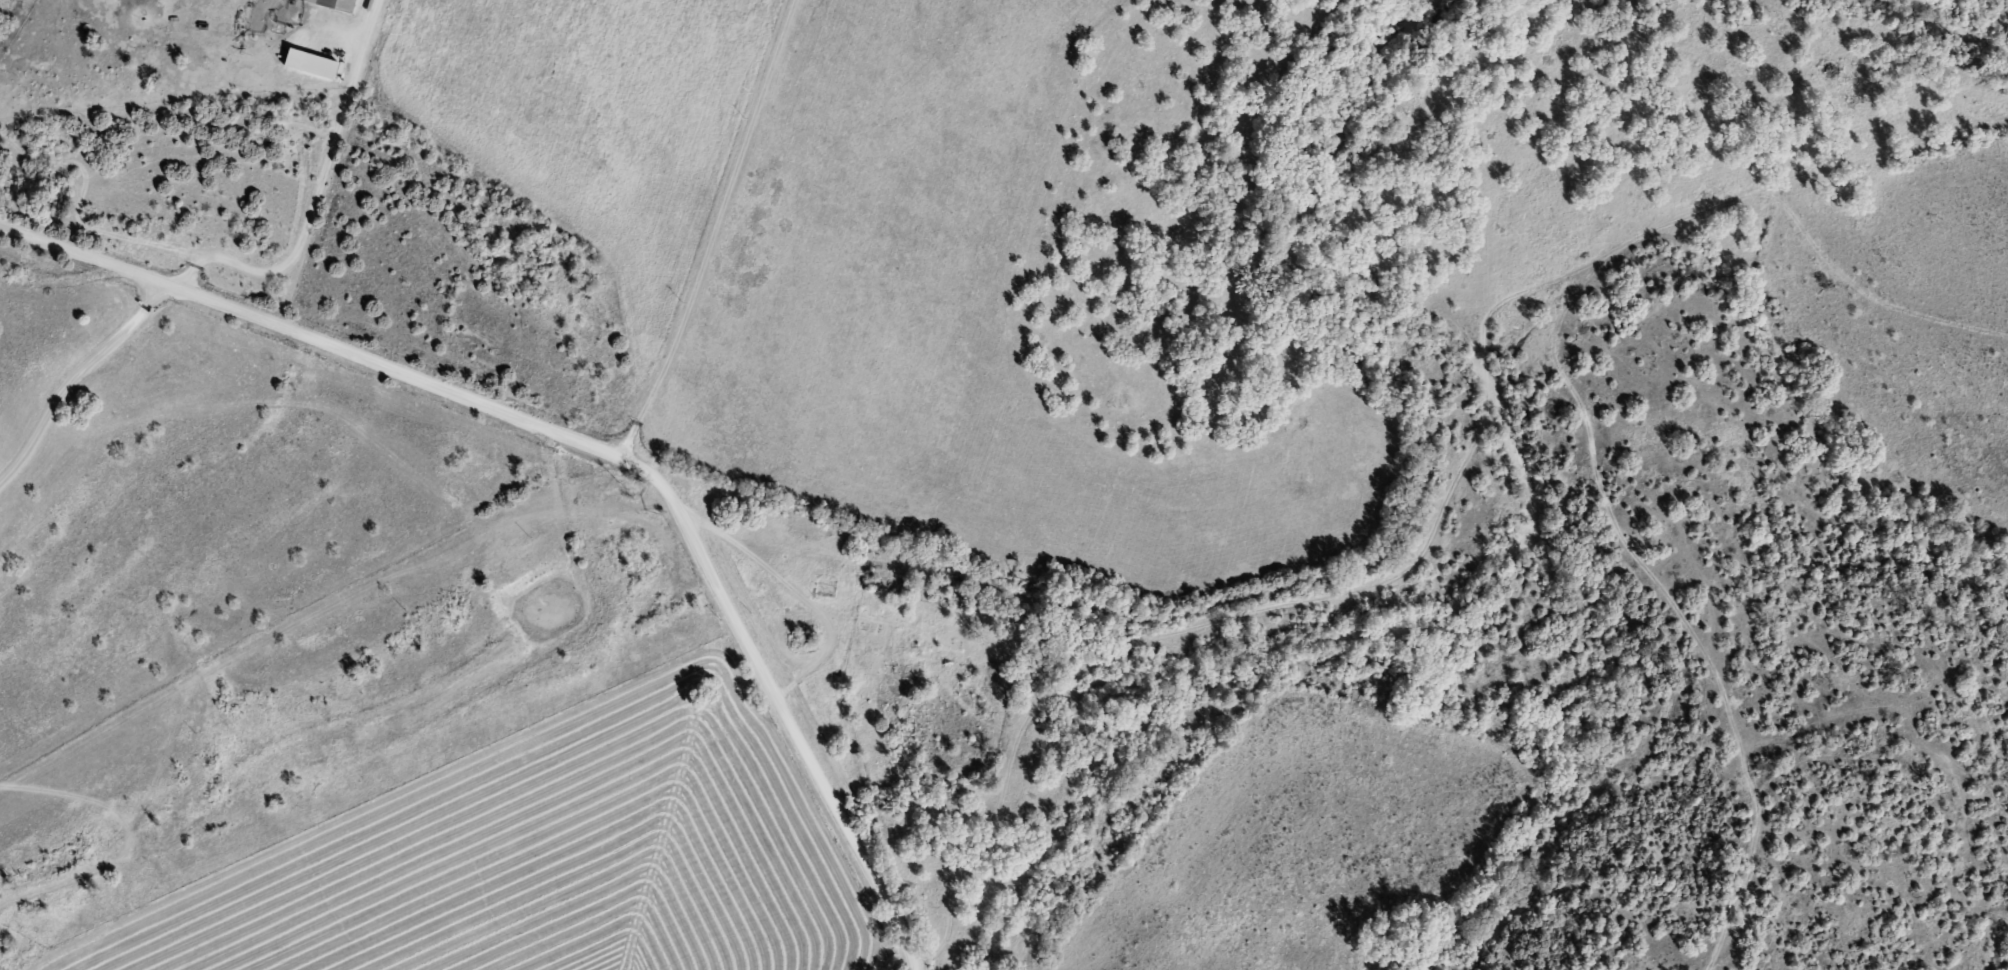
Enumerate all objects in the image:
road: (342, 357)
building: (829, 589)
road: (334, 670)
park: (932, 688)
road: (789, 738)

